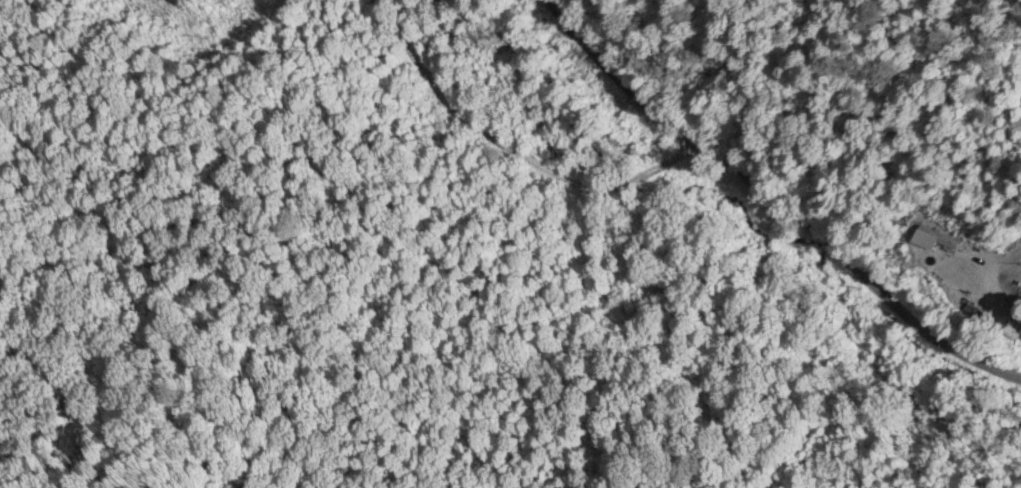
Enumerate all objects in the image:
road: (760, 219)

